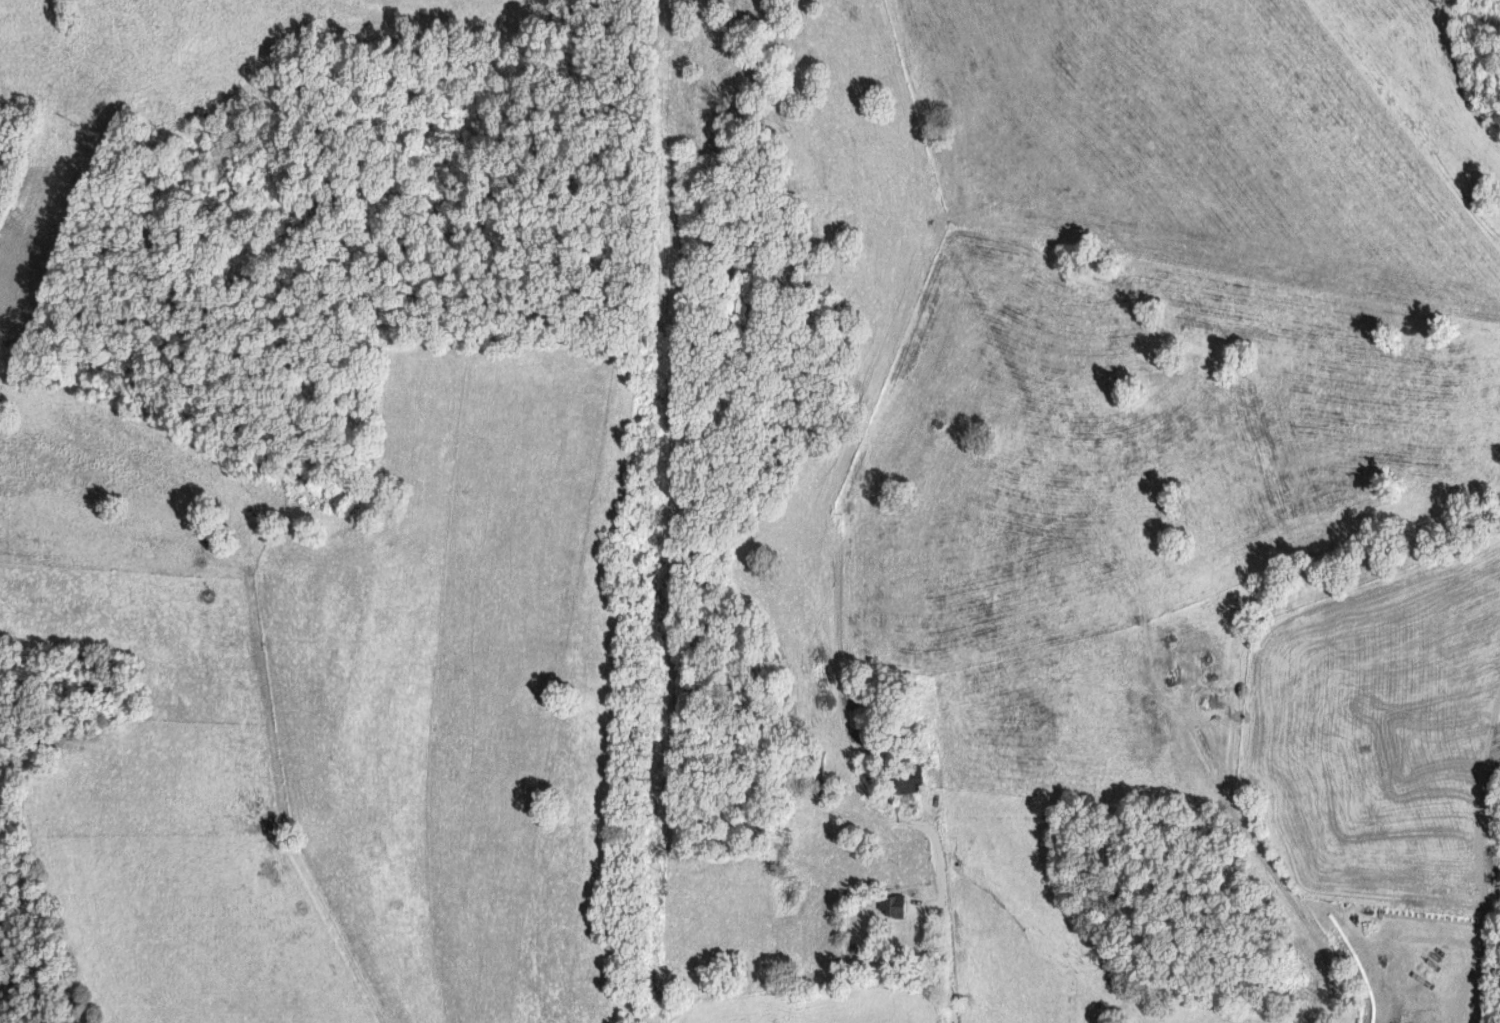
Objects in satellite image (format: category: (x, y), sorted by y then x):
building: (905, 780)
road: (276, 817)
road: (1295, 903)
building: (888, 905)
road: (943, 920)

